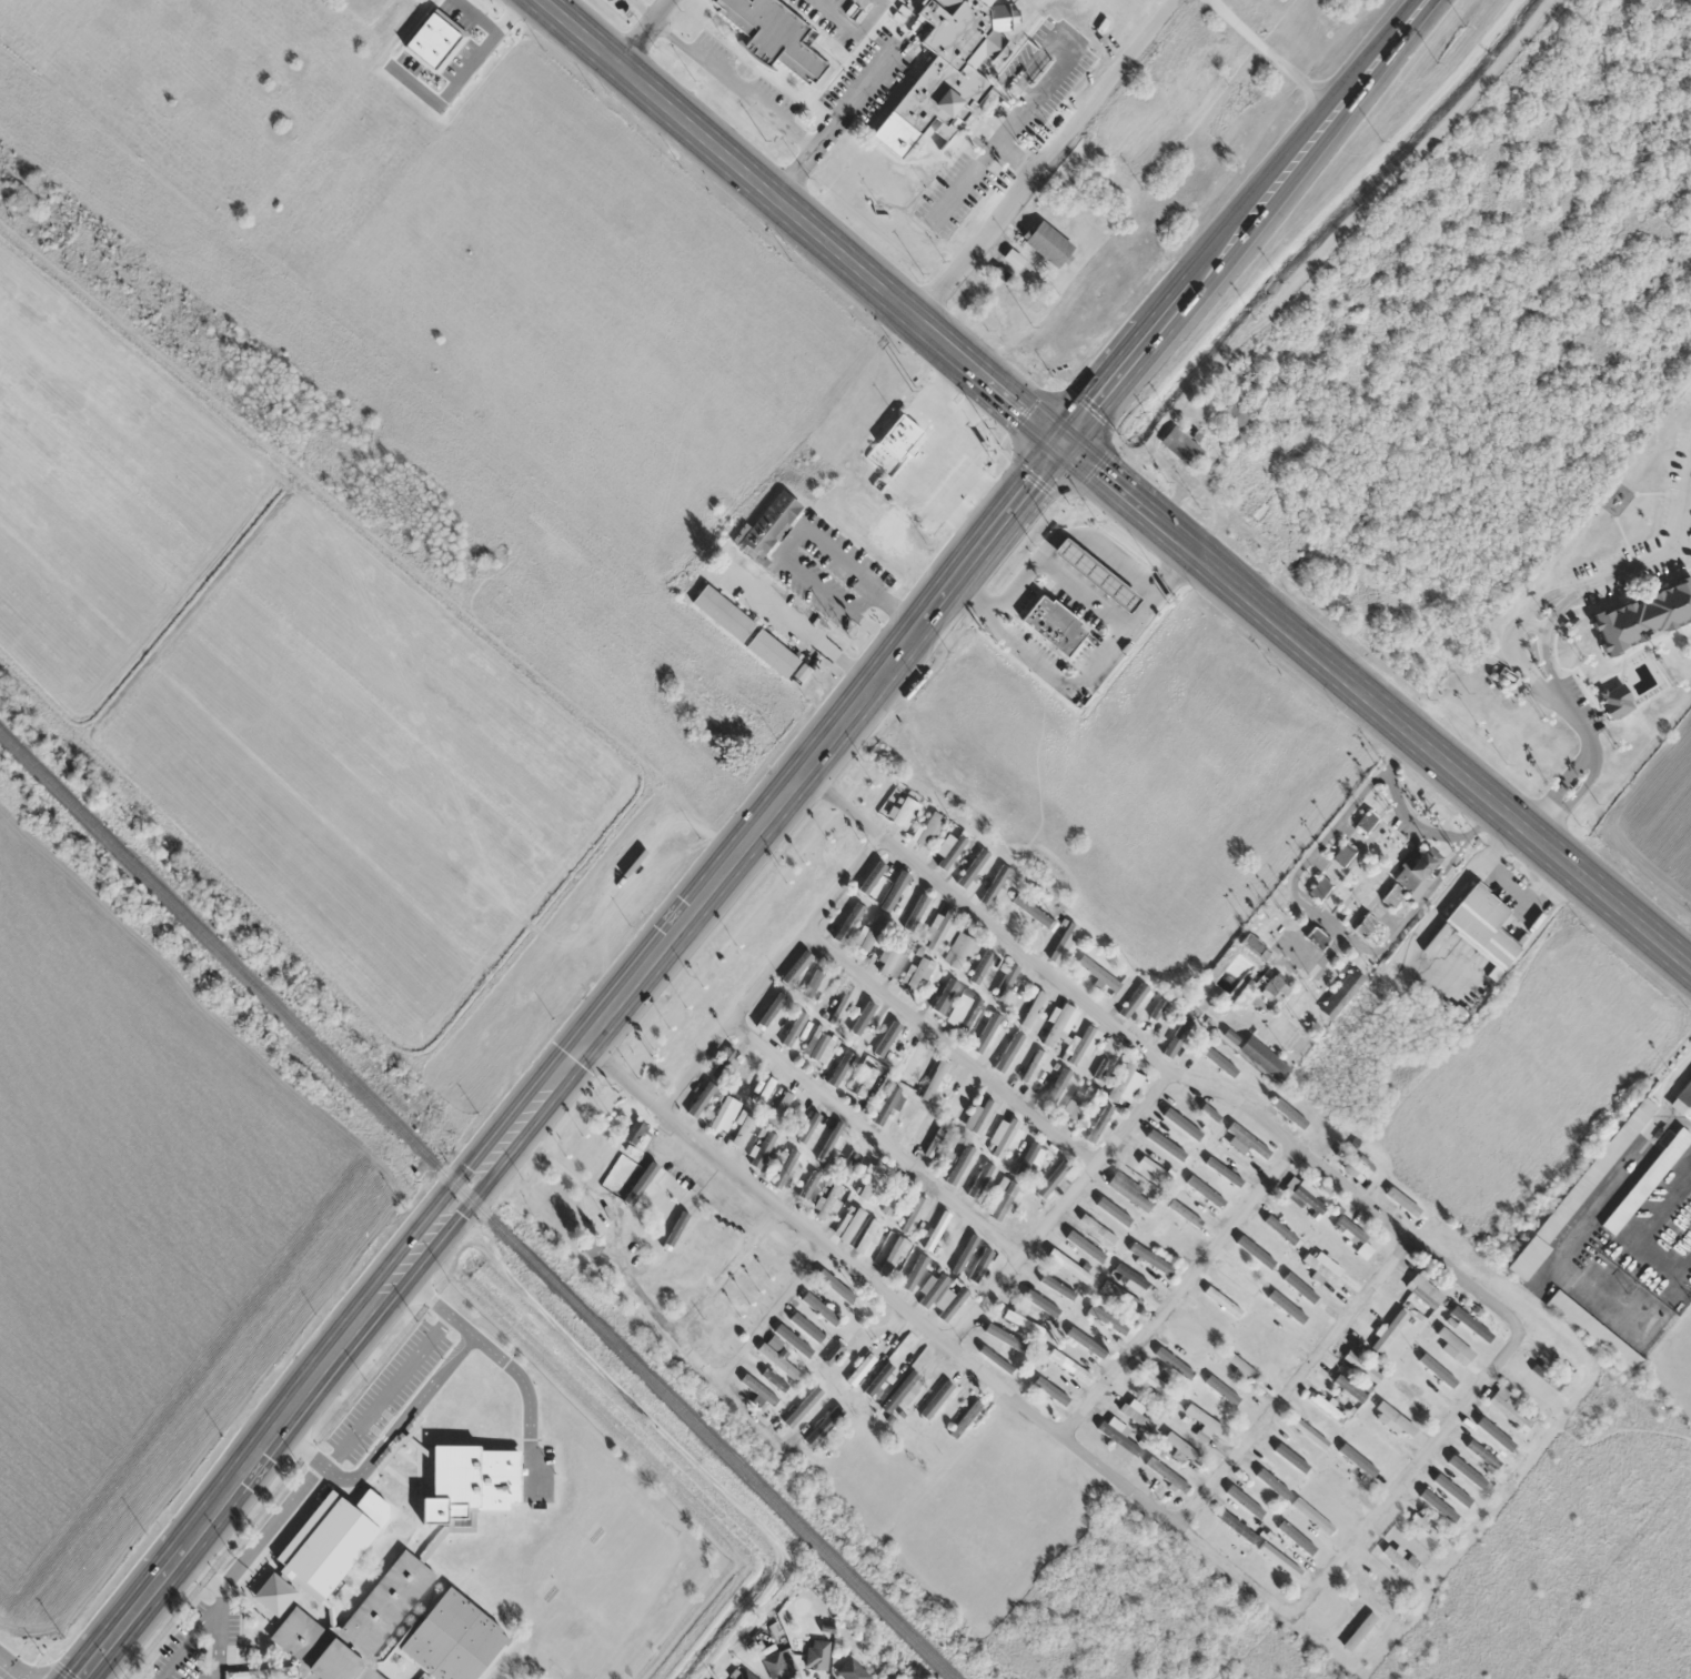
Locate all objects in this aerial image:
road: (642, 31)
building: (774, 38)
building: (947, 69)
road: (1044, 160)
road: (1248, 223)
building: (1038, 240)
building: (1013, 260)
building: (1238, 413)
building: (898, 436)
traffic signals: (1060, 443)
building: (1179, 443)
building: (946, 474)
road: (1115, 487)
building: (1252, 501)
building: (767, 525)
building: (1094, 574)
building: (722, 613)
building: (1643, 616)
road: (1550, 623)
building: (1053, 625)
building: (772, 653)
building: (801, 672)
building: (1615, 702)
building: (903, 812)
building: (1367, 822)
building: (926, 828)
building: (955, 844)
building: (1343, 855)
building: (990, 887)
building: (1320, 888)
building: (1029, 908)
building: (915, 913)
building: (847, 919)
building: (1482, 925)
building: (1366, 926)
building: (870, 932)
building: (940, 932)
building: (1317, 938)
building: (1061, 942)
building: (1254, 947)
building: (959, 952)
building: (892, 955)
building: (987, 967)
road: (768, 971)
building: (1097, 973)
building: (814, 984)
building: (1004, 986)
building: (1277, 989)
building: (1343, 993)
building: (939, 994)
building: (842, 1005)
building: (965, 1009)
building: (1033, 1009)
building: (1155, 1017)
building: (864, 1023)
building: (1059, 1023)
building: (794, 1028)
building: (990, 1032)
building: (1175, 1035)
road: (949, 1046)
building: (1010, 1047)
building: (1264, 1059)
road: (573, 1060)
building: (908, 1062)
building: (724, 1064)
building: (842, 1064)
building: (1219, 1066)
building: (1034, 1067)
building: (743, 1077)
road: (1189, 1077)
building: (934, 1080)
building: (866, 1083)
building: (1125, 1084)
building: (762, 1090)
building: (1057, 1090)
building: (957, 1100)
building: (1683, 1100)
building: (1078, 1105)
building: (779, 1109)
building: (1206, 1112)
building: (724, 1115)
building: (979, 1117)
building: (742, 1129)
building: (634, 1132)
road: (875, 1137)
building: (1001, 1137)
building: (1248, 1140)
building: (831, 1143)
building: (934, 1143)
building: (1166, 1144)
building: (1025, 1156)
building: (964, 1158)
building: (782, 1167)
road: (564, 1168)
building: (1155, 1170)
building: (1225, 1174)
road: (630, 1179)
building: (1647, 1180)
building: (869, 1182)
building: (980, 1183)
building: (1581, 1190)
building: (1129, 1193)
building: (1207, 1194)
building: (895, 1196)
building: (1307, 1198)
building: (1003, 1200)
building: (827, 1202)
building: (1402, 1203)
railway: (476, 1204)
building: (913, 1215)
building: (937, 1231)
building: (1271, 1231)
road: (1027, 1246)
building: (592, 1249)
building: (956, 1253)
building: (894, 1258)
building: (1150, 1259)
building: (1068, 1266)
road: (725, 1269)
building: (1318, 1269)
building: (1130, 1278)
building: (1236, 1278)
building: (844, 1287)
road: (1178, 1289)
building: (1425, 1290)
building: (1121, 1295)
road: (647, 1301)
building: (1040, 1305)
building: (821, 1308)
building: (1218, 1308)
road: (769, 1310)
building: (1023, 1323)
building: (1470, 1323)
building: (1389, 1331)
building: (1593, 1333)
road: (934, 1335)
building: (1007, 1339)
building: (794, 1343)
building: (1050, 1361)
road: (507, 1364)
building: (1240, 1367)
building: (1362, 1367)
building: (860, 1370)
building: (1436, 1370)
building: (1546, 1378)
building: (774, 1380)
building: (1154, 1381)
road: (1294, 1381)
building: (1349, 1389)
building: (902, 1393)
building: (938, 1398)
building: (1220, 1402)
building: (1058, 1405)
building: (1508, 1409)
building: (1330, 1414)
road: (751, 1416)
building: (969, 1416)
building: (1204, 1420)
building: (1117, 1426)
building: (1309, 1434)
road: (385, 1442)
building: (1180, 1447)
building: (1133, 1448)
building: (1482, 1455)
building: (1278, 1456)
building: (1378, 1464)
road: (1406, 1472)
building: (1167, 1475)
building: (1271, 1477)
building: (471, 1481)
building: (1338, 1482)
building: (1463, 1484)
building: (1248, 1507)
building: (1441, 1507)
building: (1312, 1516)
building: (1235, 1525)
road: (270, 1526)
building: (1426, 1529)
building: (323, 1548)
building: (1279, 1560)
building: (1400, 1561)
building: (1375, 1595)
road: (221, 1610)
building: (353, 1626)
building: (1359, 1631)
road: (189, 1639)
building: (454, 1639)
building: (817, 1655)
building: (778, 1666)
road: (8, 1671)
building: (744, 1675)

